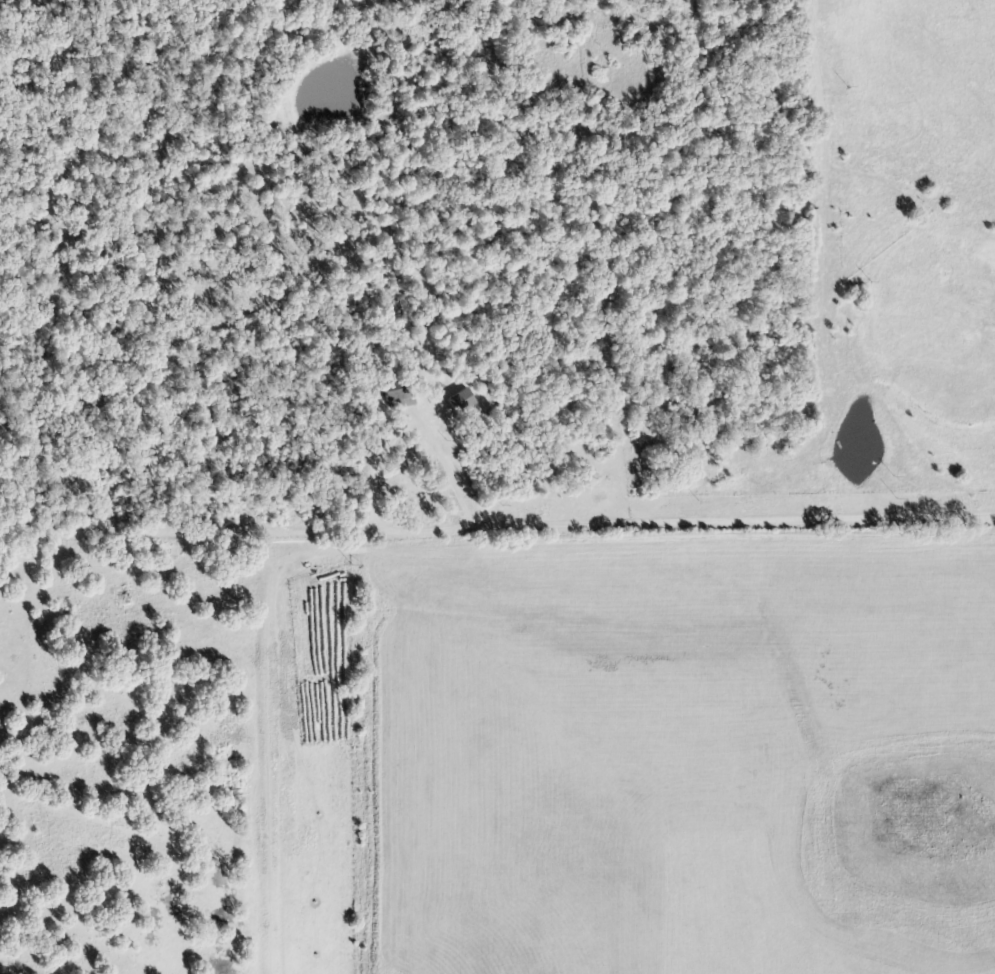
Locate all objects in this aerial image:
building: (400, 392)
road: (429, 541)

